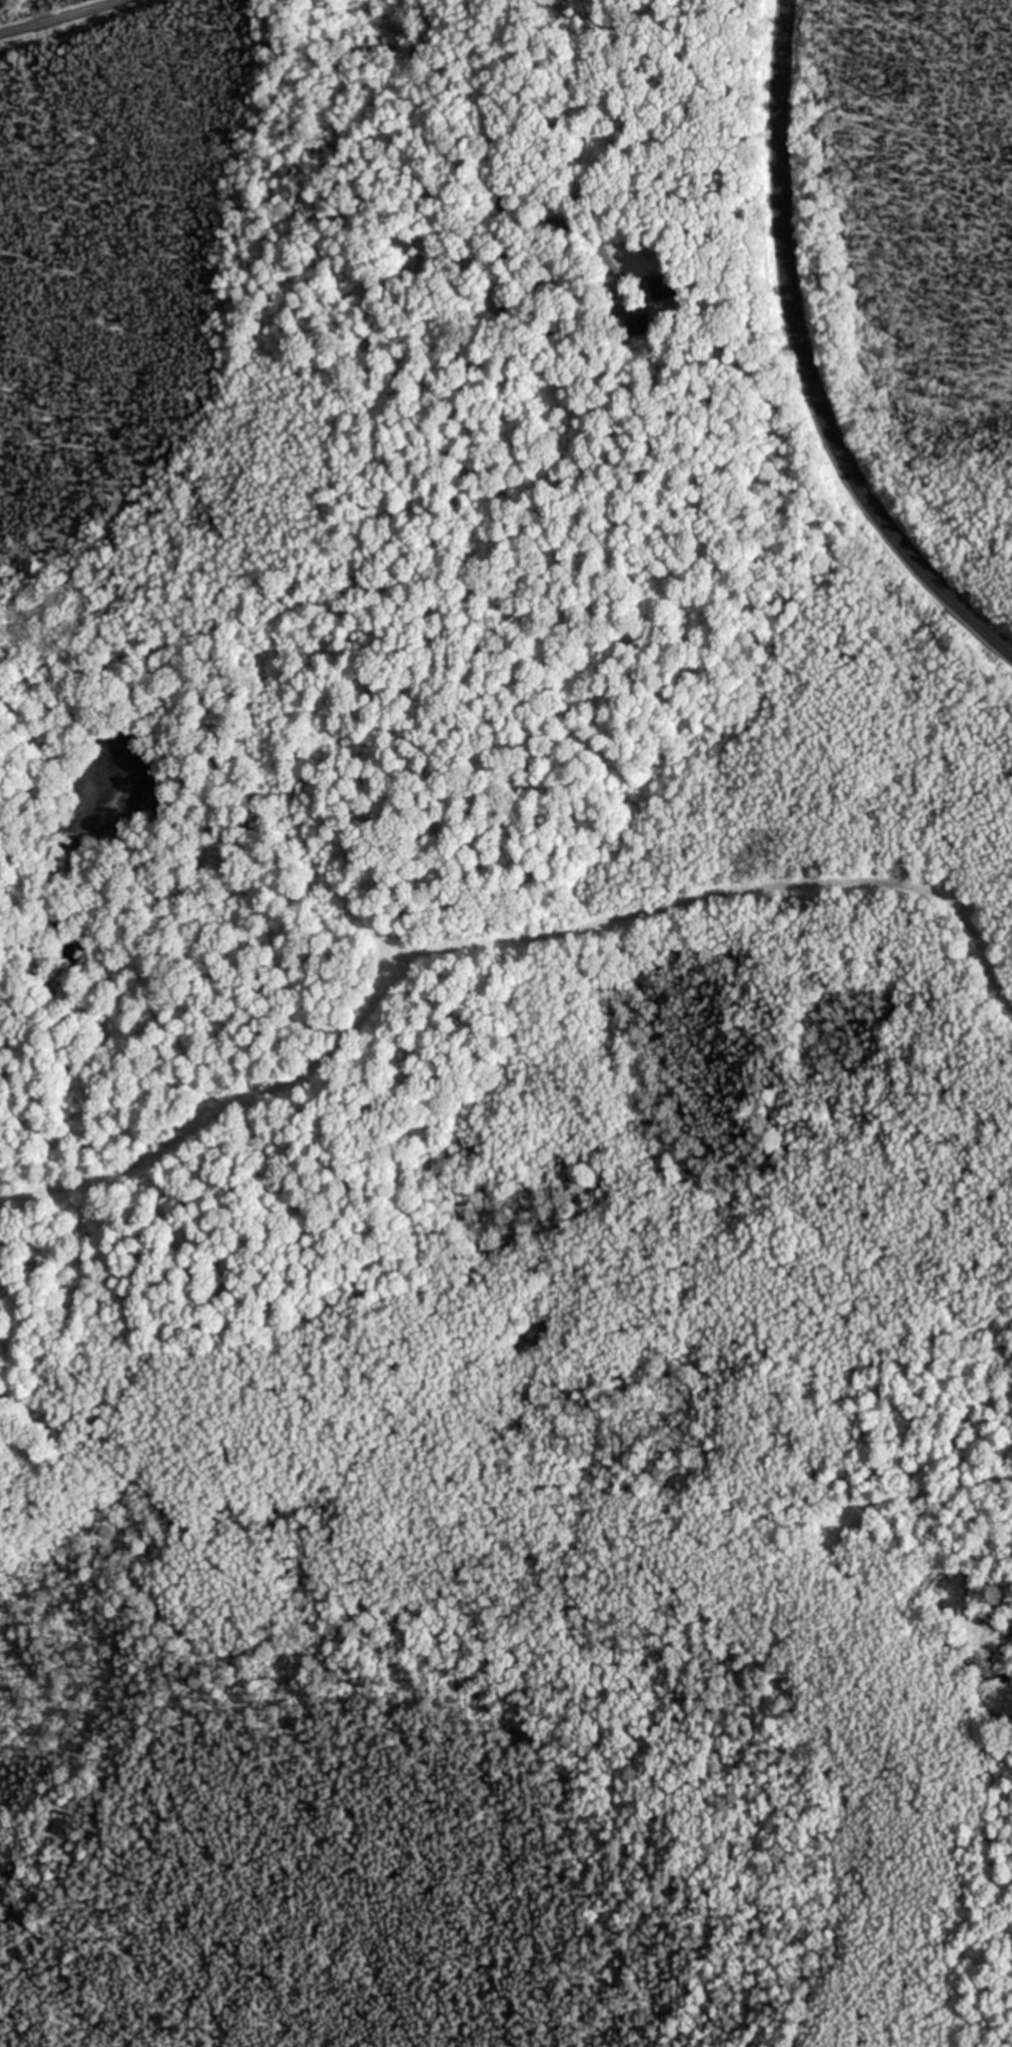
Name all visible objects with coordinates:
road: (51, 16)
road: (803, 361)
road: (492, 944)

